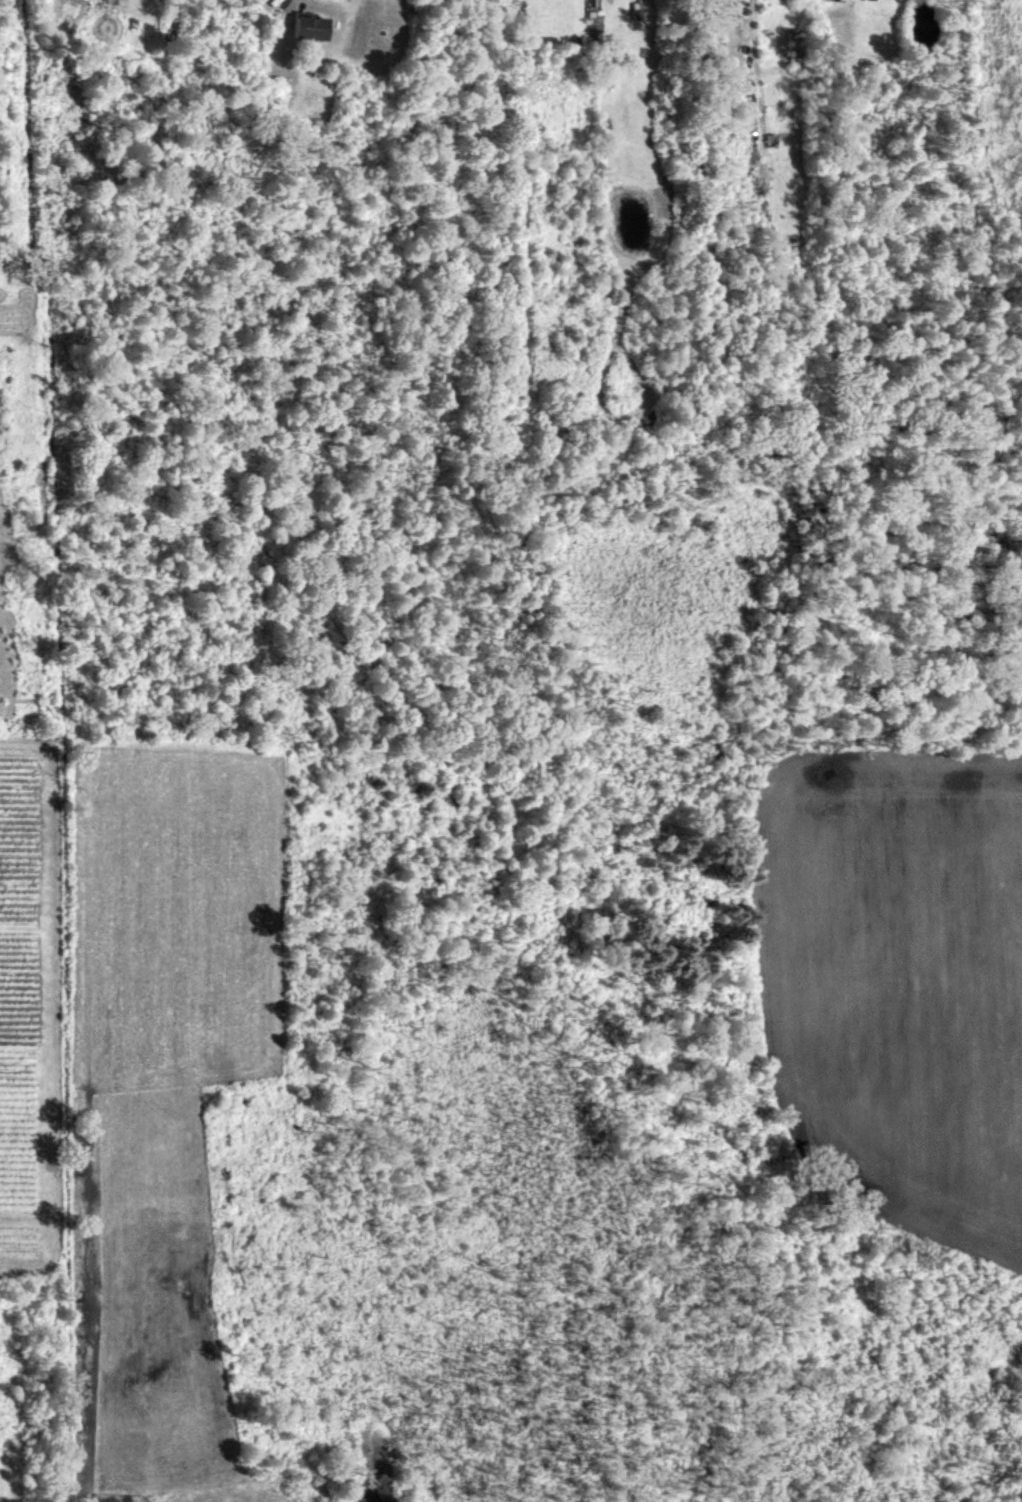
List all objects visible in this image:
building: (593, 10)
building: (309, 26)
building: (791, 43)

